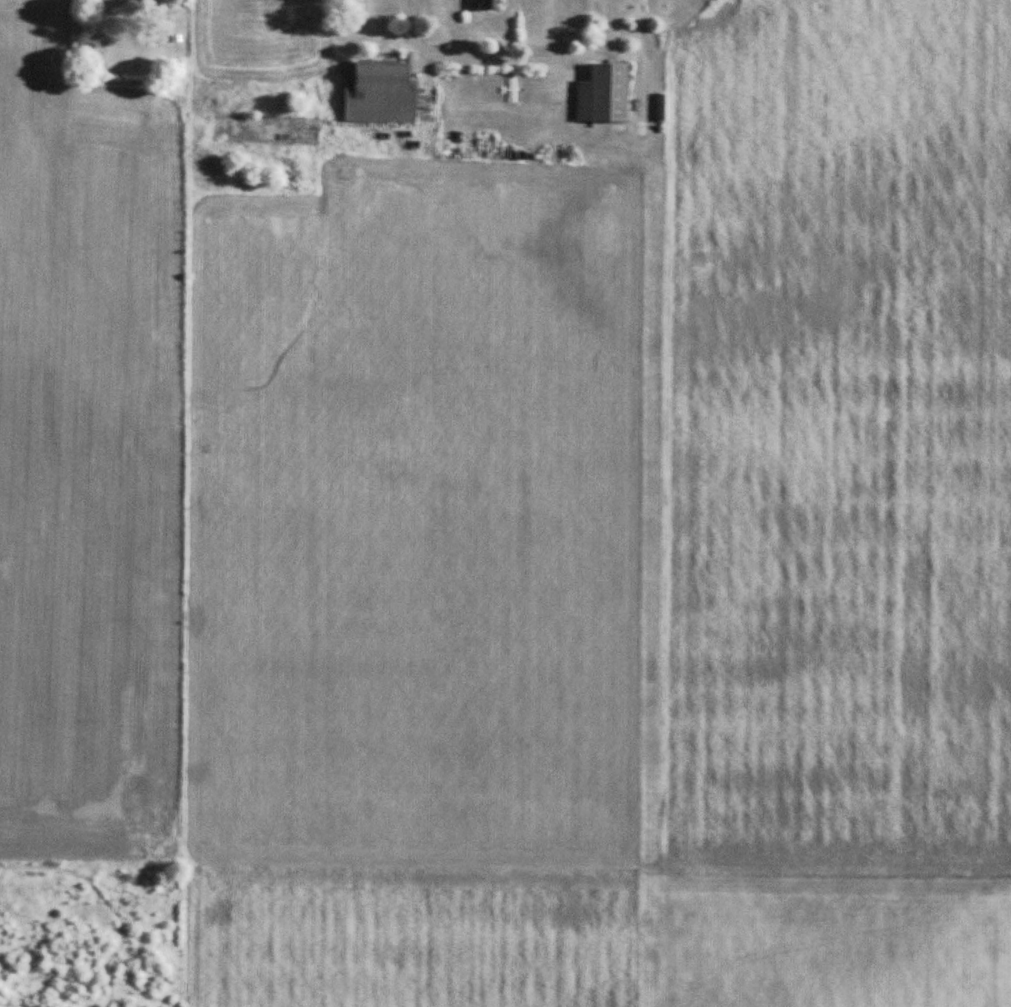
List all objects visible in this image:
building: (492, 5)
building: (383, 91)
building: (605, 95)

